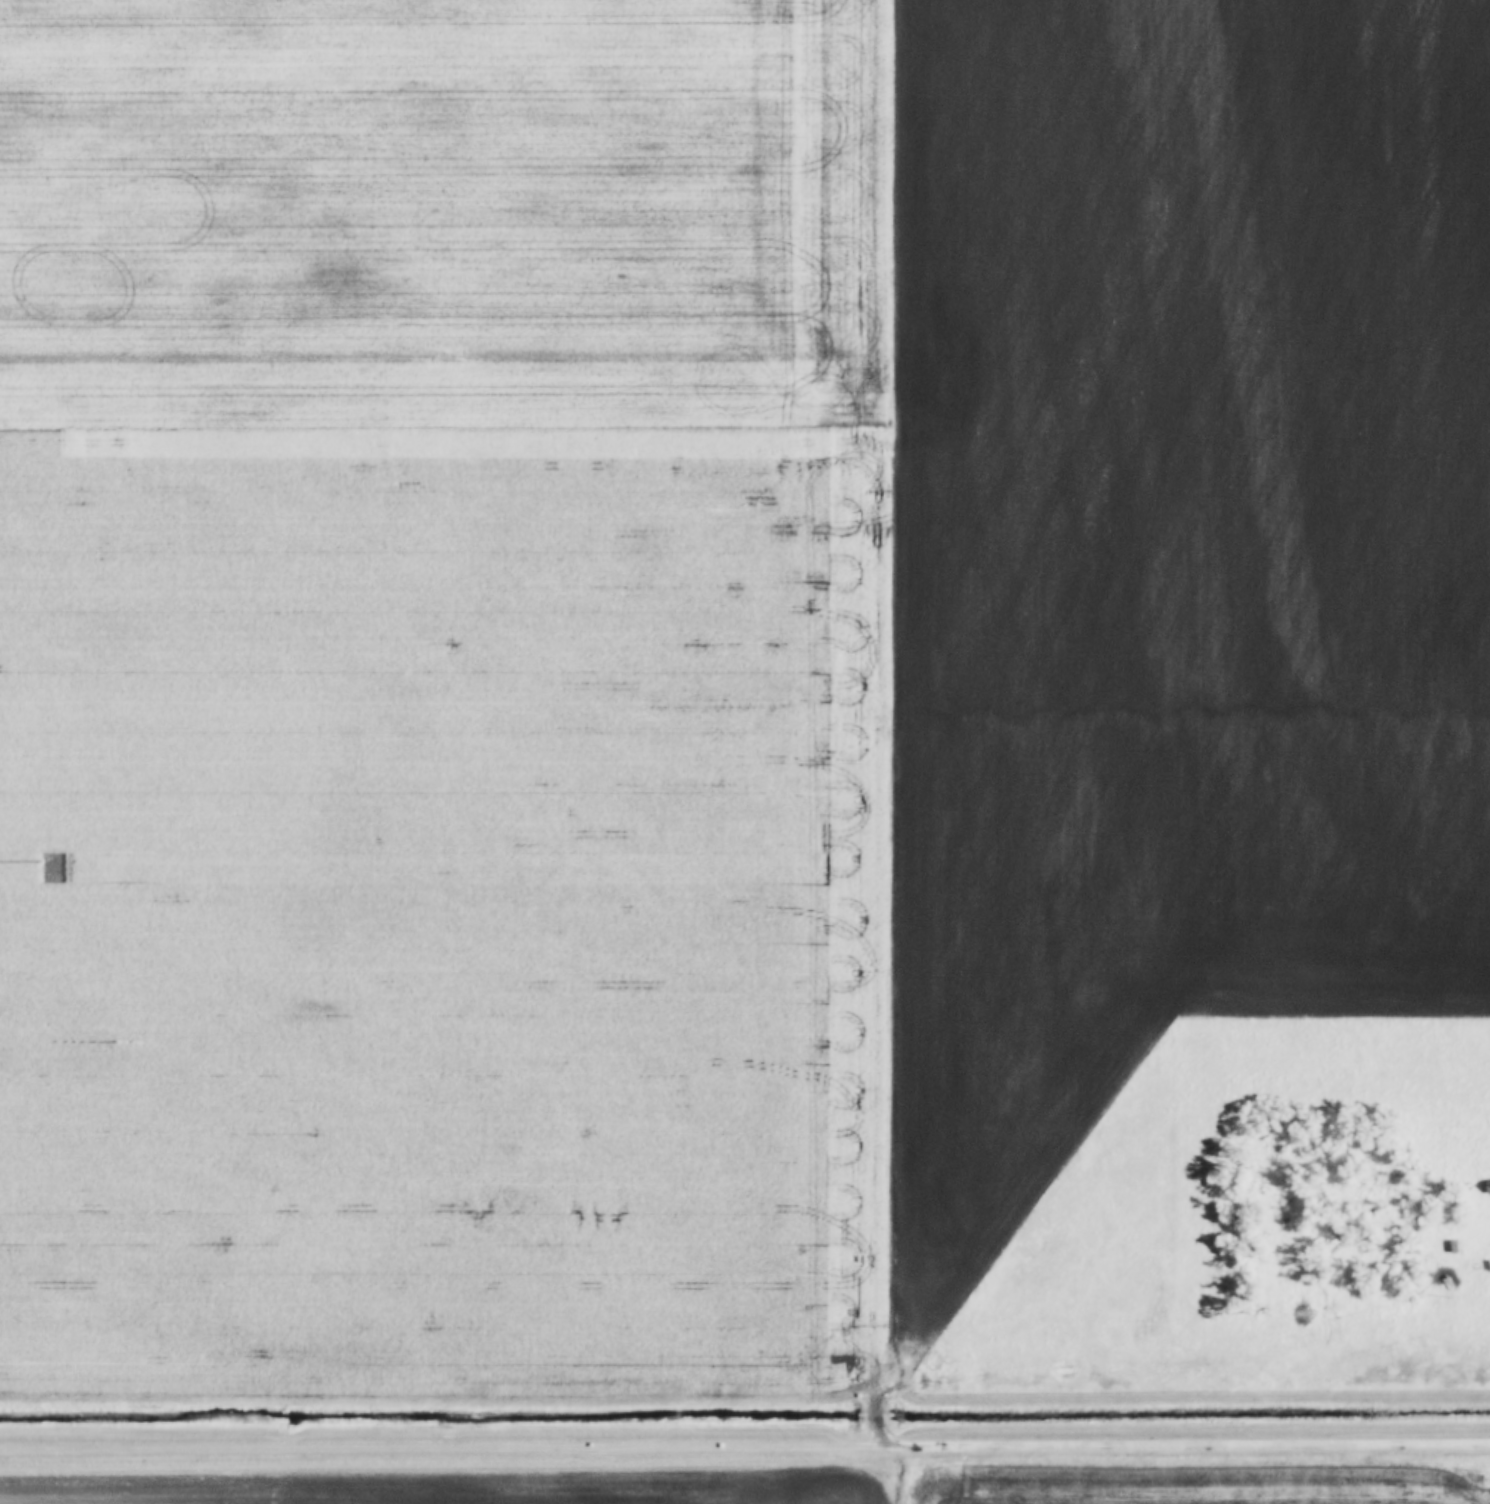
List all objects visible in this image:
building: (1486, 1187)
road: (1139, 1380)
road: (745, 1438)

